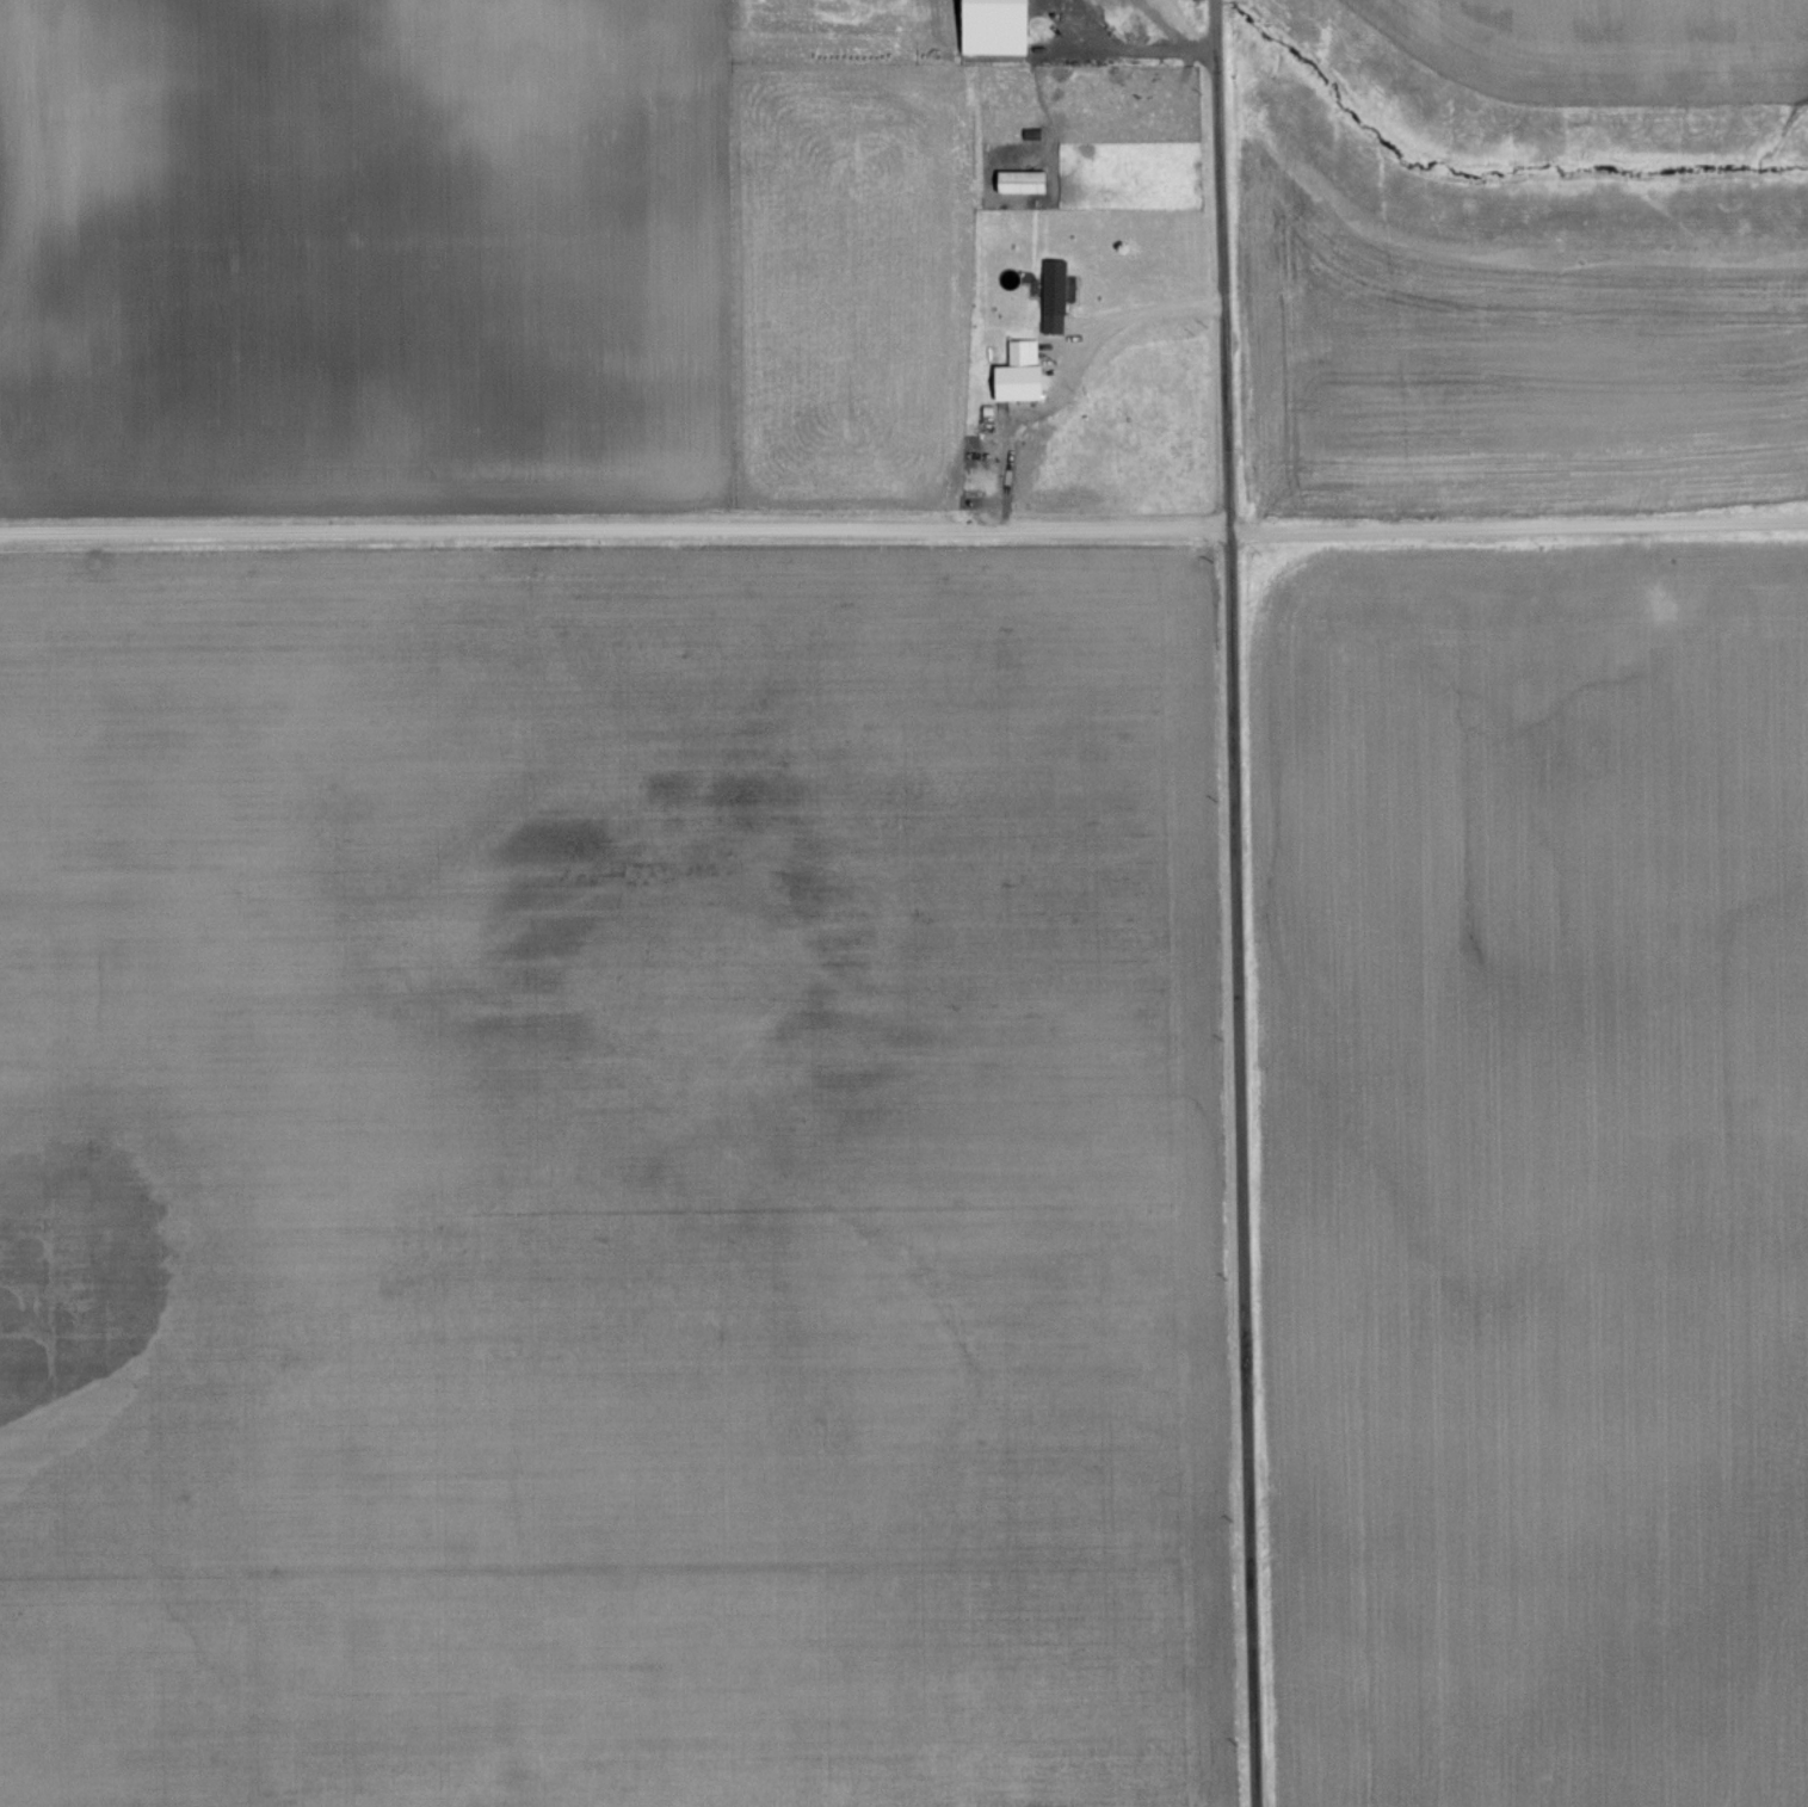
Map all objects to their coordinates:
crop: (1611, 48)
building: (1024, 185)
crop: (365, 258)
building: (1057, 300)
crop: (1505, 372)
building: (1023, 376)
road: (1520, 528)
road: (617, 535)
road: (1239, 902)
crop: (1537, 1173)
crop: (613, 1180)

